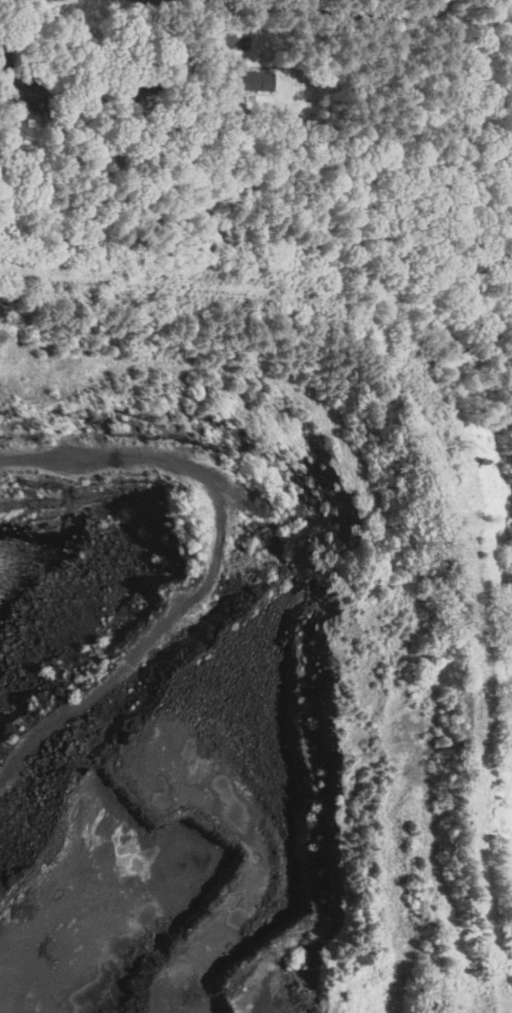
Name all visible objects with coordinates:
road: (312, 7)
road: (5, 41)
building: (248, 81)
quarry: (253, 582)

